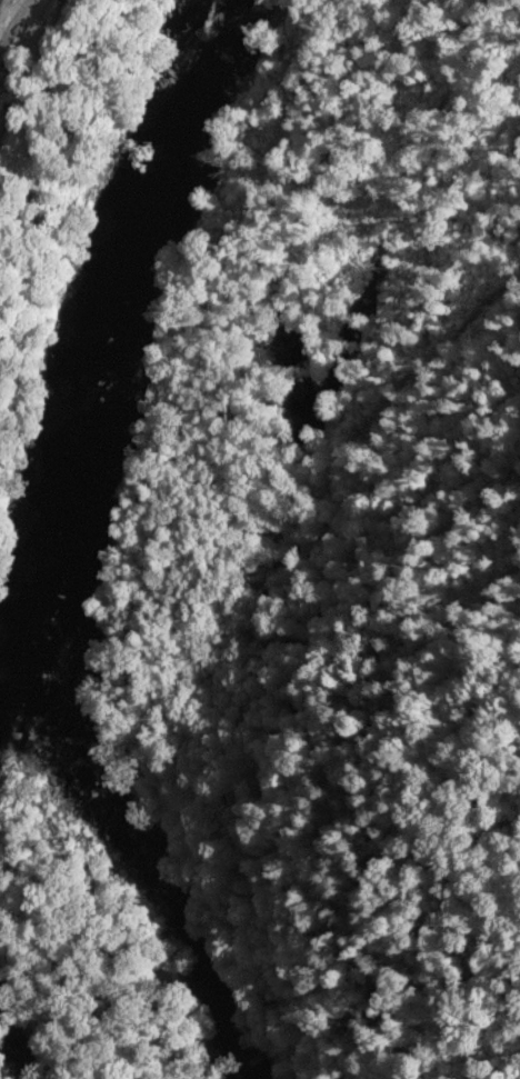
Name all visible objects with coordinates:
river: (64, 545)

